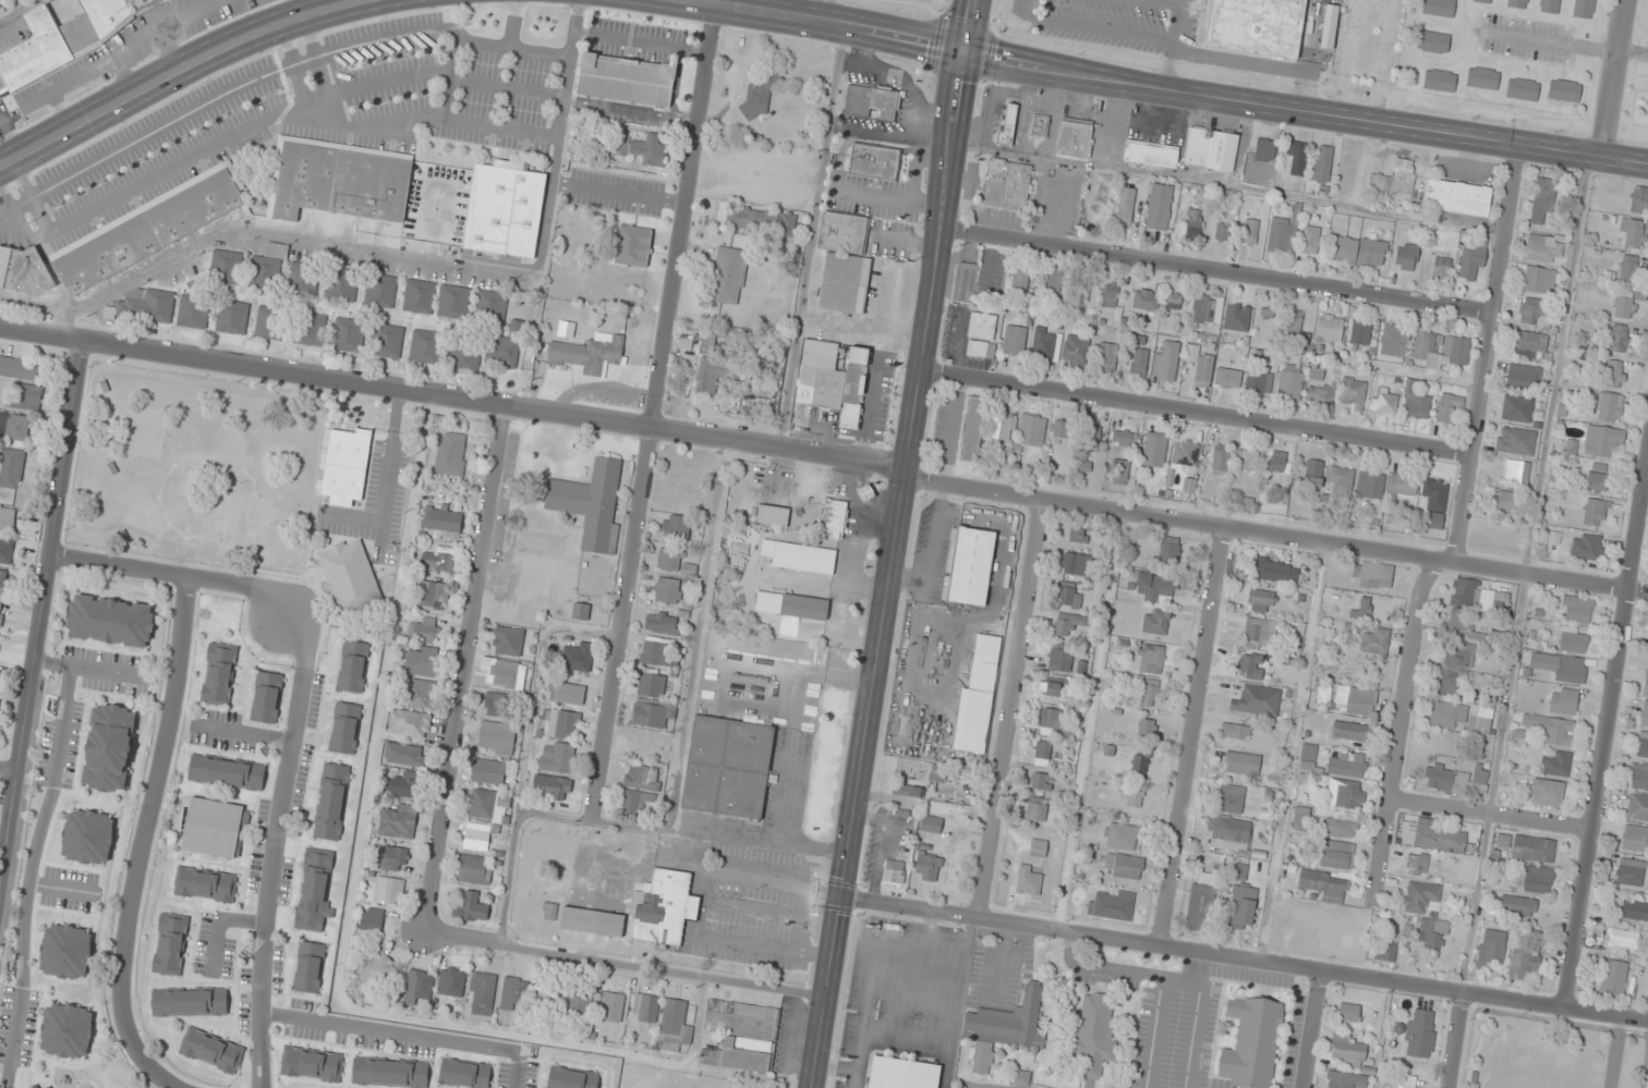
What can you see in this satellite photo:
building: (1482, 1)
building: (1517, 3)
road: (312, 5)
building: (1549, 5)
building: (1439, 8)
building: (1583, 9)
road: (17, 10)
building: (1257, 25)
building: (1329, 26)
building: (1432, 41)
road: (168, 49)
traffic signals: (965, 50)
road: (121, 52)
road: (173, 71)
road: (122, 75)
road: (1614, 77)
building: (1482, 78)
building: (626, 80)
building: (1439, 80)
road: (1163, 86)
building: (1522, 89)
building: (1563, 90)
building: (759, 96)
building: (871, 101)
road: (59, 110)
building: (1647, 110)
building: (1007, 124)
building: (1040, 125)
building: (1075, 138)
road: (9, 139)
building: (644, 149)
building: (1211, 149)
building: (1264, 149)
building: (1151, 154)
building: (1297, 156)
building: (876, 162)
building: (1321, 163)
building: (1395, 178)
building: (338, 181)
building: (1006, 184)
building: (1457, 197)
building: (1542, 199)
building: (1639, 199)
building: (1159, 207)
building: (504, 209)
building: (1100, 211)
building: (1124, 217)
building: (756, 220)
building: (1193, 223)
building: (1223, 227)
building: (148, 229)
building: (1250, 230)
building: (1634, 232)
building: (1282, 234)
building: (1310, 240)
building: (633, 245)
building: (1543, 248)
building: (1357, 252)
building: (1406, 257)
building: (1473, 261)
building: (844, 262)
building: (1441, 266)
building: (226, 267)
building: (267, 268)
building: (22, 269)
building: (1628, 269)
road: (1217, 272)
building: (728, 276)
building: (1536, 278)
building: (303, 279)
building: (1020, 281)
building: (1055, 281)
building: (965, 282)
building: (341, 284)
building: (1081, 288)
building: (383, 291)
building: (1110, 295)
building: (416, 296)
building: (452, 298)
building: (1146, 299)
building: (1174, 302)
building: (137, 305)
building: (1624, 305)
building: (490, 307)
building: (1208, 309)
building: (1530, 309)
building: (193, 310)
building: (1267, 313)
building: (232, 317)
building: (1237, 317)
building: (1294, 321)
building: (270, 323)
building: (982, 326)
building: (1330, 328)
building: (311, 329)
building: (1360, 332)
building: (347, 334)
building: (1619, 339)
building: (385, 340)
building: (1014, 340)
building: (1394, 341)
building: (1529, 342)
building: (1045, 344)
building: (425, 346)
building: (1427, 349)
building: (981, 350)
building: (1456, 350)
building: (502, 351)
building: (1076, 351)
building: (464, 355)
building: (589, 355)
building: (1106, 356)
building: (1140, 359)
building: (1166, 360)
building: (1200, 365)
building: (19, 367)
building: (1317, 371)
building: (710, 374)
building: (1613, 374)
building: (1520, 376)
building: (1227, 378)
building: (1289, 381)
building: (1255, 382)
building: (834, 384)
building: (1320, 392)
building: (1353, 393)
building: (23, 395)
road: (453, 396)
building: (1386, 400)
building: (1415, 401)
building: (881, 402)
road: (655, 404)
building: (1447, 406)
building: (1609, 407)
building: (1516, 408)
road: (1197, 413)
building: (14, 427)
building: (846, 427)
building: (972, 428)
building: (1064, 429)
building: (1001, 430)
building: (1031, 430)
building: (1092, 437)
building: (1123, 438)
building: (1515, 441)
building: (1601, 441)
building: (450, 453)
building: (1185, 454)
building: (1220, 460)
building: (1251, 460)
building: (1276, 463)
building: (346, 465)
building: (11, 467)
park: (196, 468)
building: (1119, 472)
building: (1516, 473)
building: (1312, 474)
building: (1597, 477)
building: (1340, 480)
building: (1370, 484)
building: (1403, 485)
building: (864, 493)
building: (1434, 500)
building: (1504, 501)
building: (591, 503)
building: (1595, 512)
building: (765, 514)
building: (7, 518)
building: (833, 518)
building: (443, 519)
road: (1461, 525)
building: (676, 528)
building: (1077, 536)
road: (1275, 536)
road: (894, 543)
building: (1586, 547)
building: (1171, 549)
building: (5, 551)
building: (800, 557)
building: (439, 559)
building: (670, 560)
building: (1075, 563)
building: (971, 566)
building: (1274, 570)
road: (1523, 573)
road: (177, 574)
building: (1373, 575)
building: (349, 578)
building: (2, 582)
building: (1155, 588)
building: (668, 590)
building: (434, 595)
building: (1069, 596)
building: (1476, 596)
building: (1260, 600)
building: (791, 604)
road: (39, 606)
building: (1365, 608)
building: (1576, 609)
building: (0, 611)
building: (580, 611)
building: (110, 621)
building: (1155, 621)
building: (663, 623)
building: (1068, 623)
building: (1463, 625)
building: (424, 631)
building: (1259, 634)
building: (1573, 639)
building: (1374, 640)
building: (508, 641)
building: (659, 651)
building: (1461, 655)
building: (577, 657)
building: (1152, 658)
building: (1059, 659)
building: (422, 661)
building: (353, 667)
road: (465, 667)
building: (1249, 667)
building: (1560, 667)
building: (505, 672)
building: (219, 673)
building: (1447, 683)
building: (653, 685)
building: (1645, 685)
building: (1052, 688)
building: (566, 693)
building: (1150, 693)
building: (421, 694)
building: (266, 697)
building: (978, 697)
building: (1257, 700)
building: (1563, 700)
building: (1360, 701)
building: (501, 705)
road: (1010, 710)
building: (653, 712)
building: (1644, 713)
building: (1462, 717)
building: (1051, 720)
road: (1088, 721)
building: (410, 722)
building: (560, 723)
building: (344, 728)
building: (1147, 728)
building: (1554, 730)
building: (1235, 731)
building: (1349, 731)
road: (1604, 734)
road: (1191, 736)
building: (496, 737)
building: (1643, 745)
building: (109, 747)
building: (1042, 749)
road: (1290, 751)
building: (404, 755)
building: (1308, 756)
building: (556, 757)
building: (1141, 760)
building: (1241, 762)
building: (1347, 763)
building: (1555, 763)
building: (728, 767)
road: (8, 770)
building: (489, 771)
building: (227, 772)
building: (1639, 775)
building: (643, 777)
building: (935, 778)
building: (1456, 779)
building: (1041, 781)
building: (550, 786)
building: (404, 787)
building: (1547, 792)
building: (1345, 793)
road: (150, 797)
building: (1131, 797)
building: (1231, 798)
building: (331, 800)
building: (482, 803)
building: (1637, 807)
building: (1037, 809)
road: (1490, 815)
building: (1300, 817)
building: (398, 821)
building: (1342, 823)
building: (932, 824)
building: (213, 828)
building: (1228, 834)
building: (87, 836)
building: (477, 836)
building: (1119, 836)
building: (1431, 836)
building: (1635, 838)
road: (276, 844)
building: (1038, 847)
building: (1534, 848)
building: (1336, 854)
building: (395, 858)
building: (1417, 863)
building: (1123, 866)
building: (928, 867)
building: (474, 870)
building: (894, 871)
building: (1629, 871)
building: (1029, 879)
building: (1538, 879)
building: (205, 884)
building: (1323, 885)
building: (614, 888)
building: (315, 890)
building: (389, 890)
building: (1421, 896)
traffic signals: (840, 897)
building: (1202, 901)
building: (1111, 905)
building: (1516, 905)
building: (664, 907)
building: (1243, 907)
building: (1633, 909)
building: (372, 919)
building: (592, 921)
building: (1302, 922)
building: (1432, 933)
building: (1622, 938)
building: (1388, 942)
building: (170, 943)
building: (1323, 943)
building: (1491, 946)
building: (65, 951)
road: (1244, 958)
road: (627, 964)
building: (1524, 965)
building: (308, 967)
building: (379, 970)
building: (1613, 977)
building: (451, 981)
building: (420, 986)
building: (482, 992)
building: (512, 993)
building: (543, 994)
building: (190, 1002)
building: (578, 1004)
building: (610, 1005)
building: (645, 1007)
building: (1348, 1012)
parking lot: (1208, 1023)
building: (674, 1026)
building: (1003, 1029)
road: (1311, 1029)
building: (66, 1030)
building: (1420, 1032)
building: (1093, 1034)
building: (741, 1035)
road: (1455, 1041)
building: (1251, 1042)
building: (211, 1050)
building: (1347, 1050)
park: (1551, 1052)
road: (1614, 1052)
road: (142, 1058)
building: (312, 1064)
building: (390, 1073)
building: (464, 1073)
building: (901, 1074)
building: (572, 1077)
building: (1020, 1077)
building: (1347, 1080)
building: (1407, 1081)
parking lot: (978, 1084)
building: (35, 1087)
building: (51, 1087)

